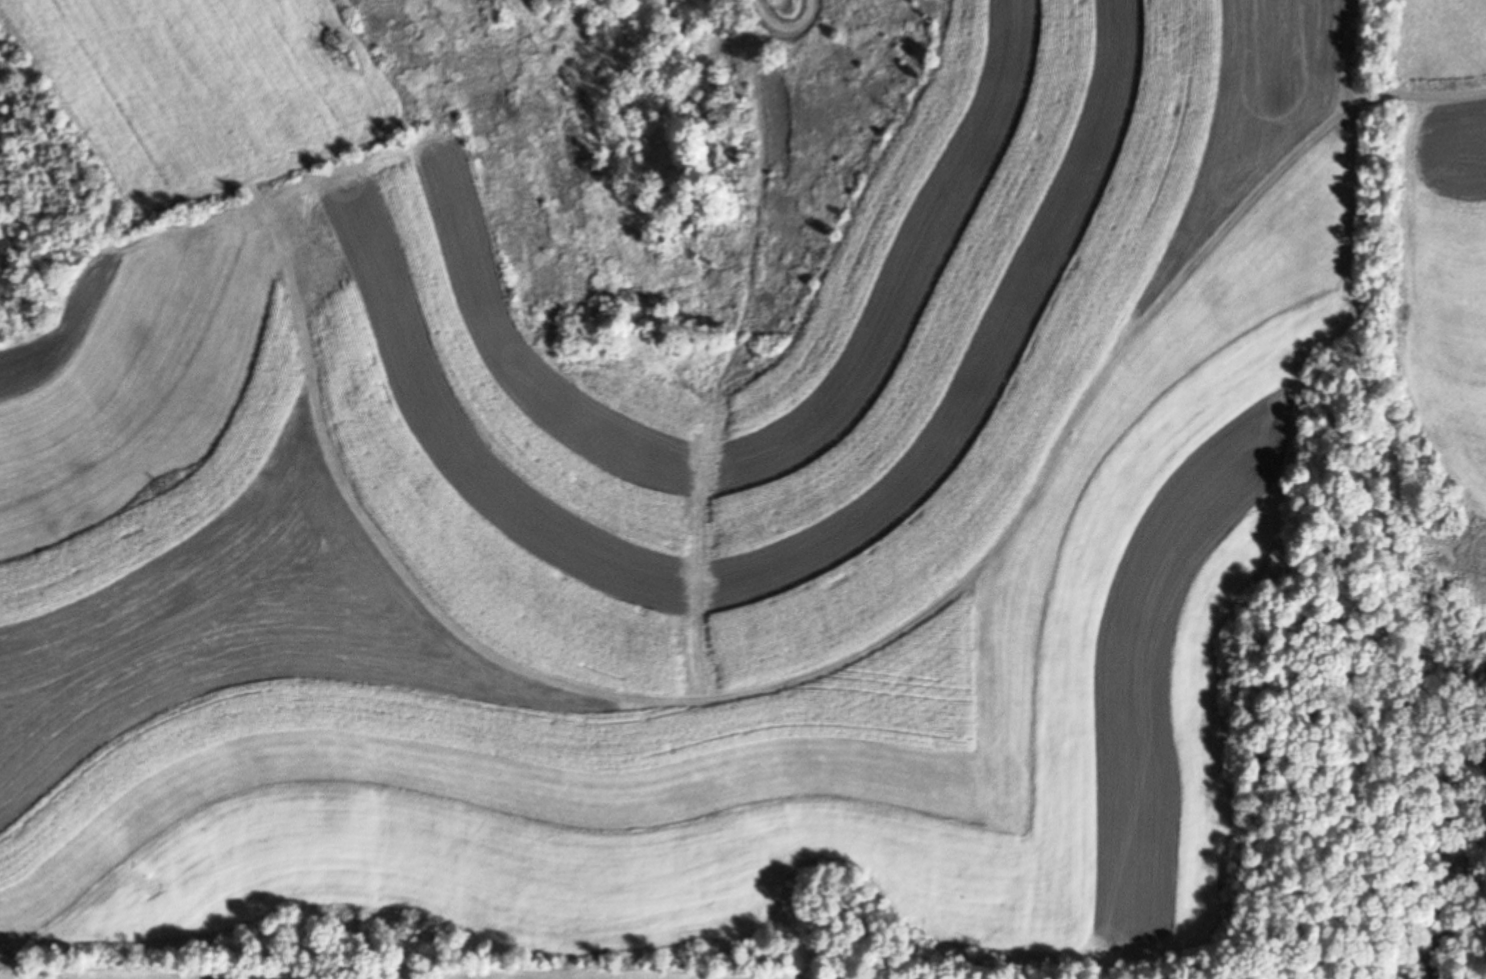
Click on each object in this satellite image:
road: (782, 30)

